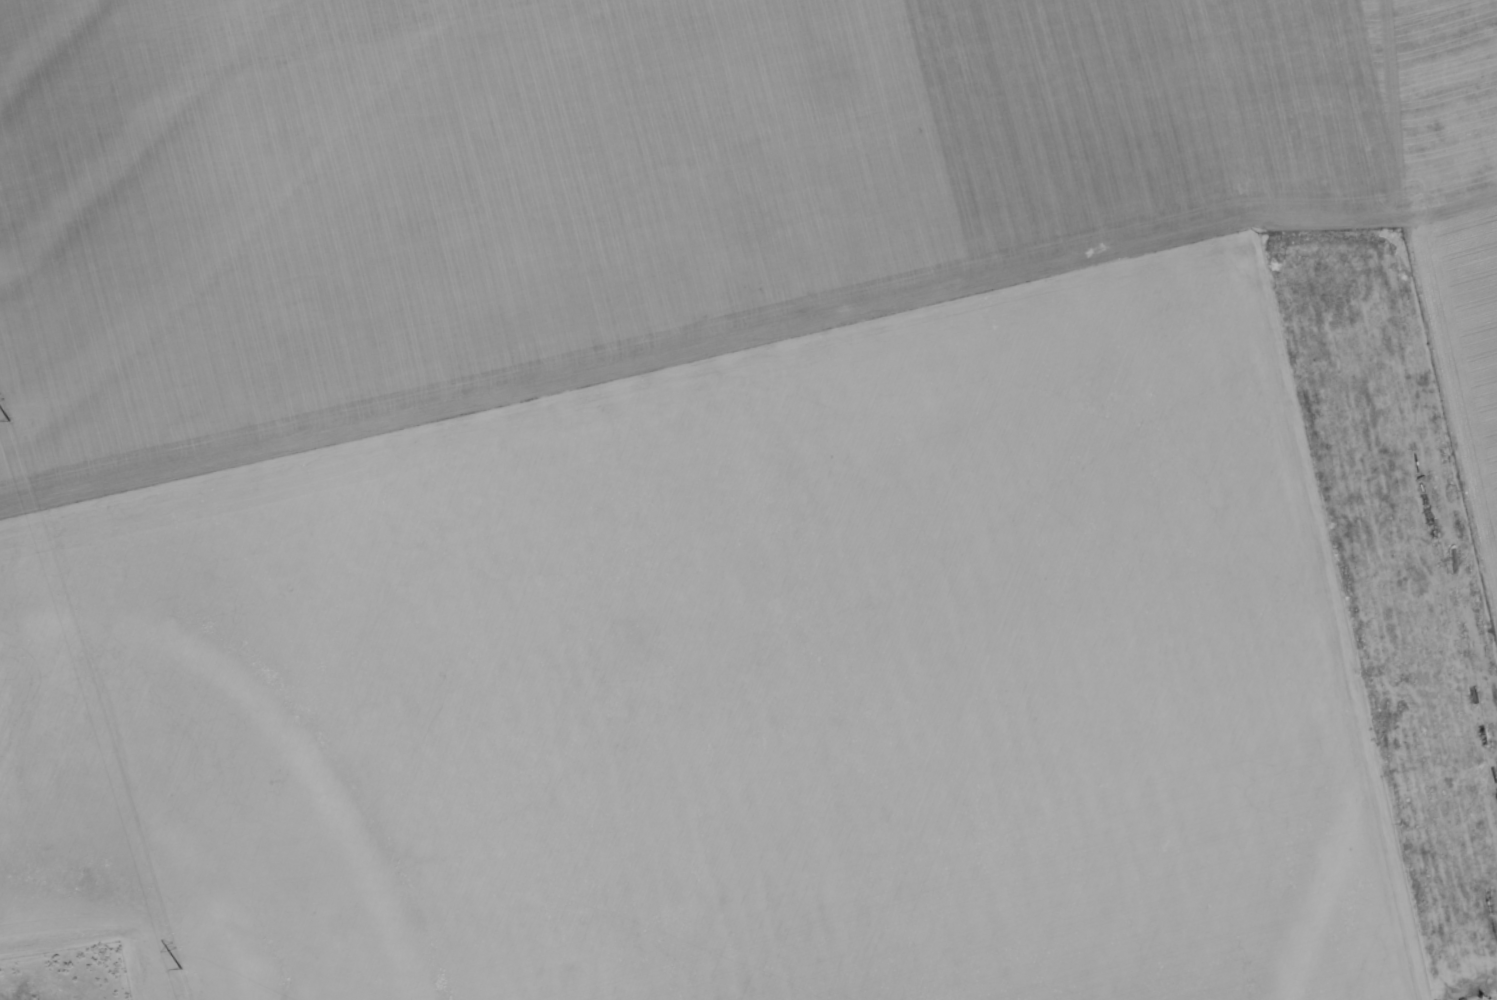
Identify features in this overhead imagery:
power tower: (9, 422)
power tower: (181, 970)

